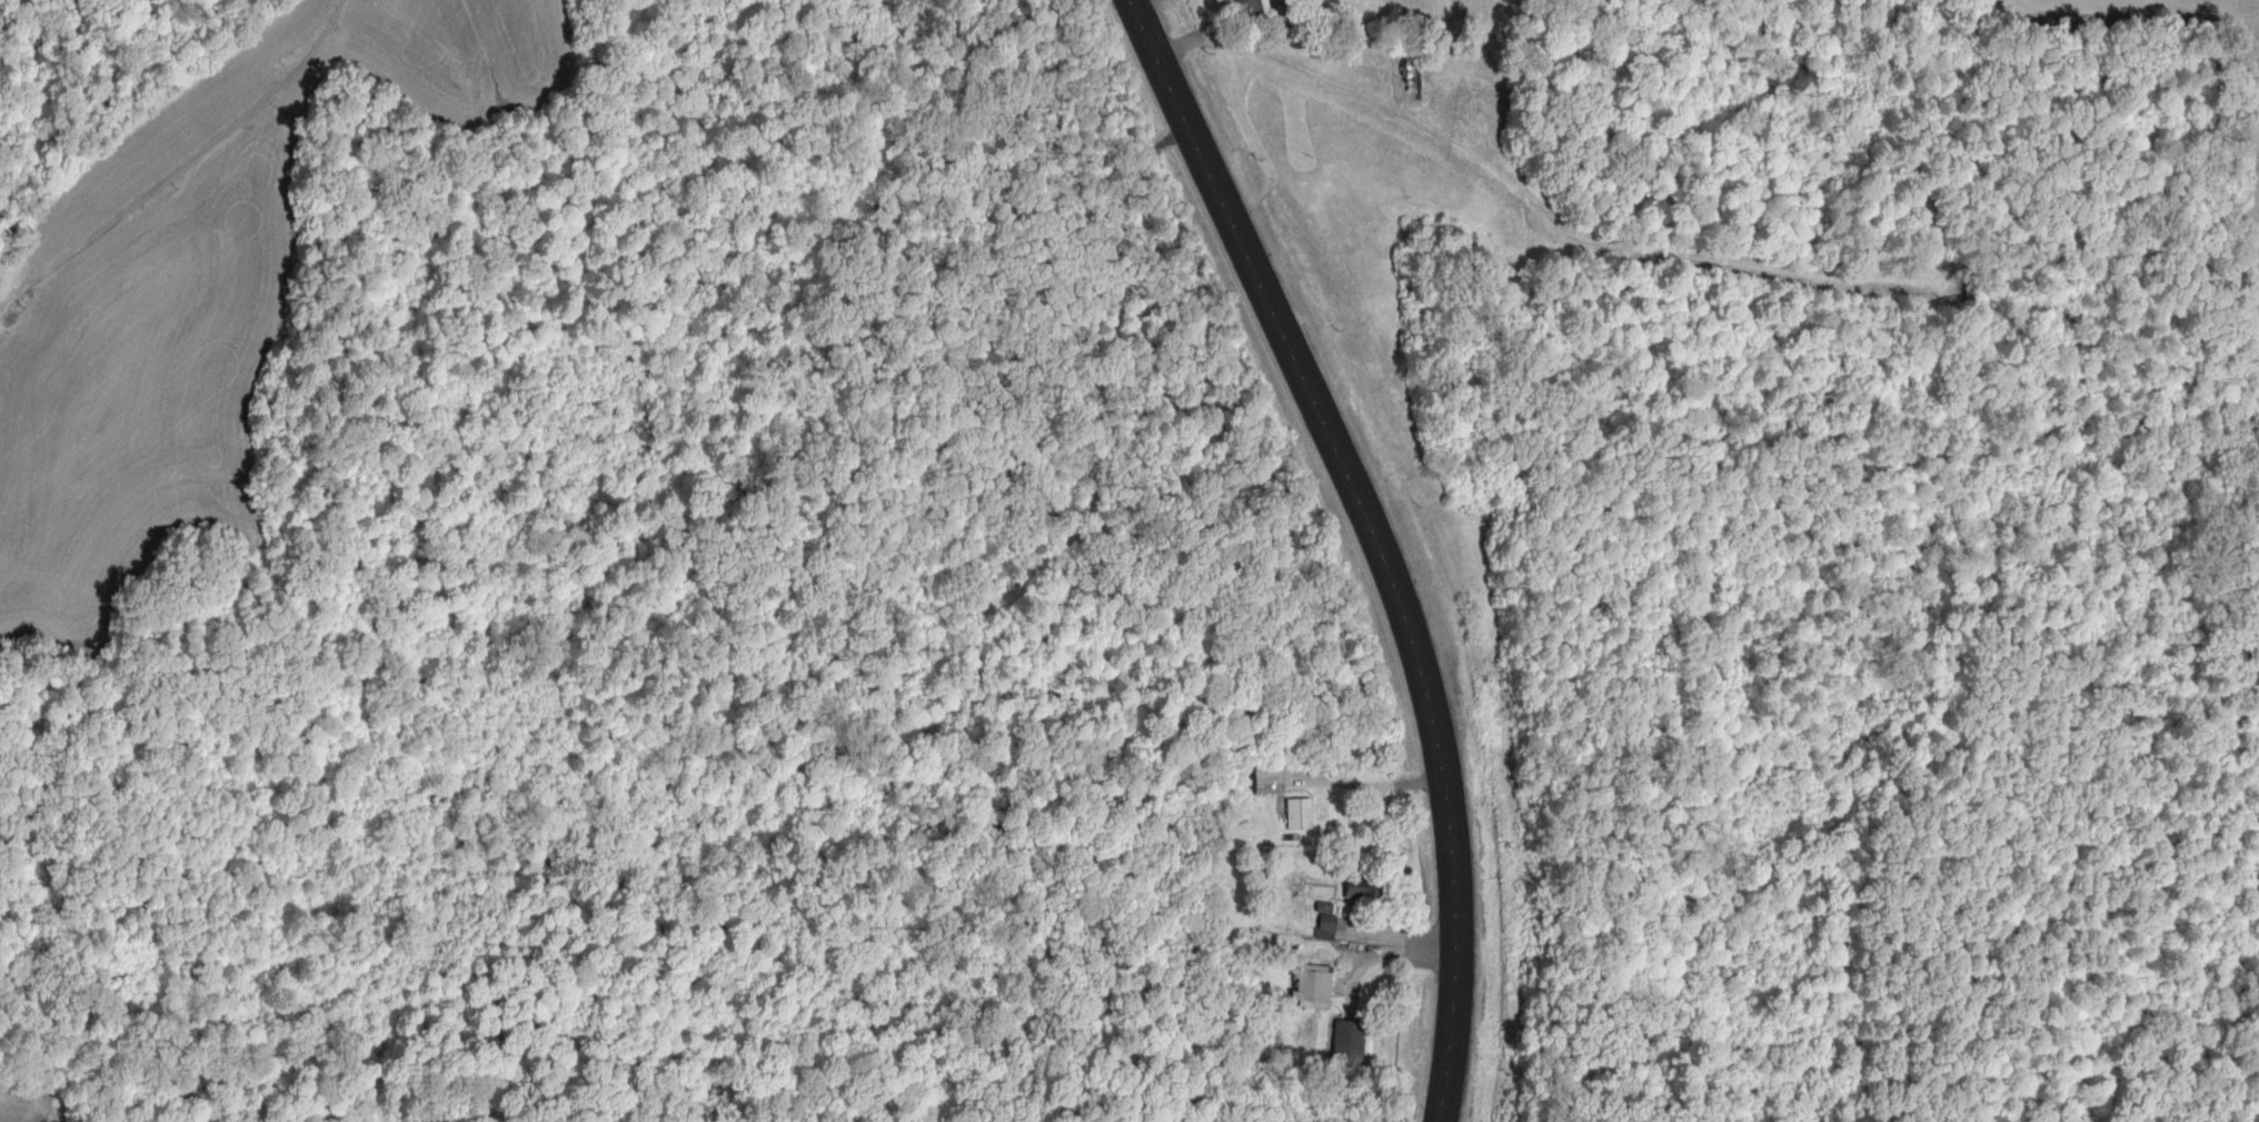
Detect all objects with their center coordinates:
building: (1254, 7)
road: (1382, 106)
road: (183, 169)
road: (1380, 539)
road: (1377, 785)
building: (1301, 813)
building: (1363, 891)
road: (1399, 955)
building: (1314, 985)

